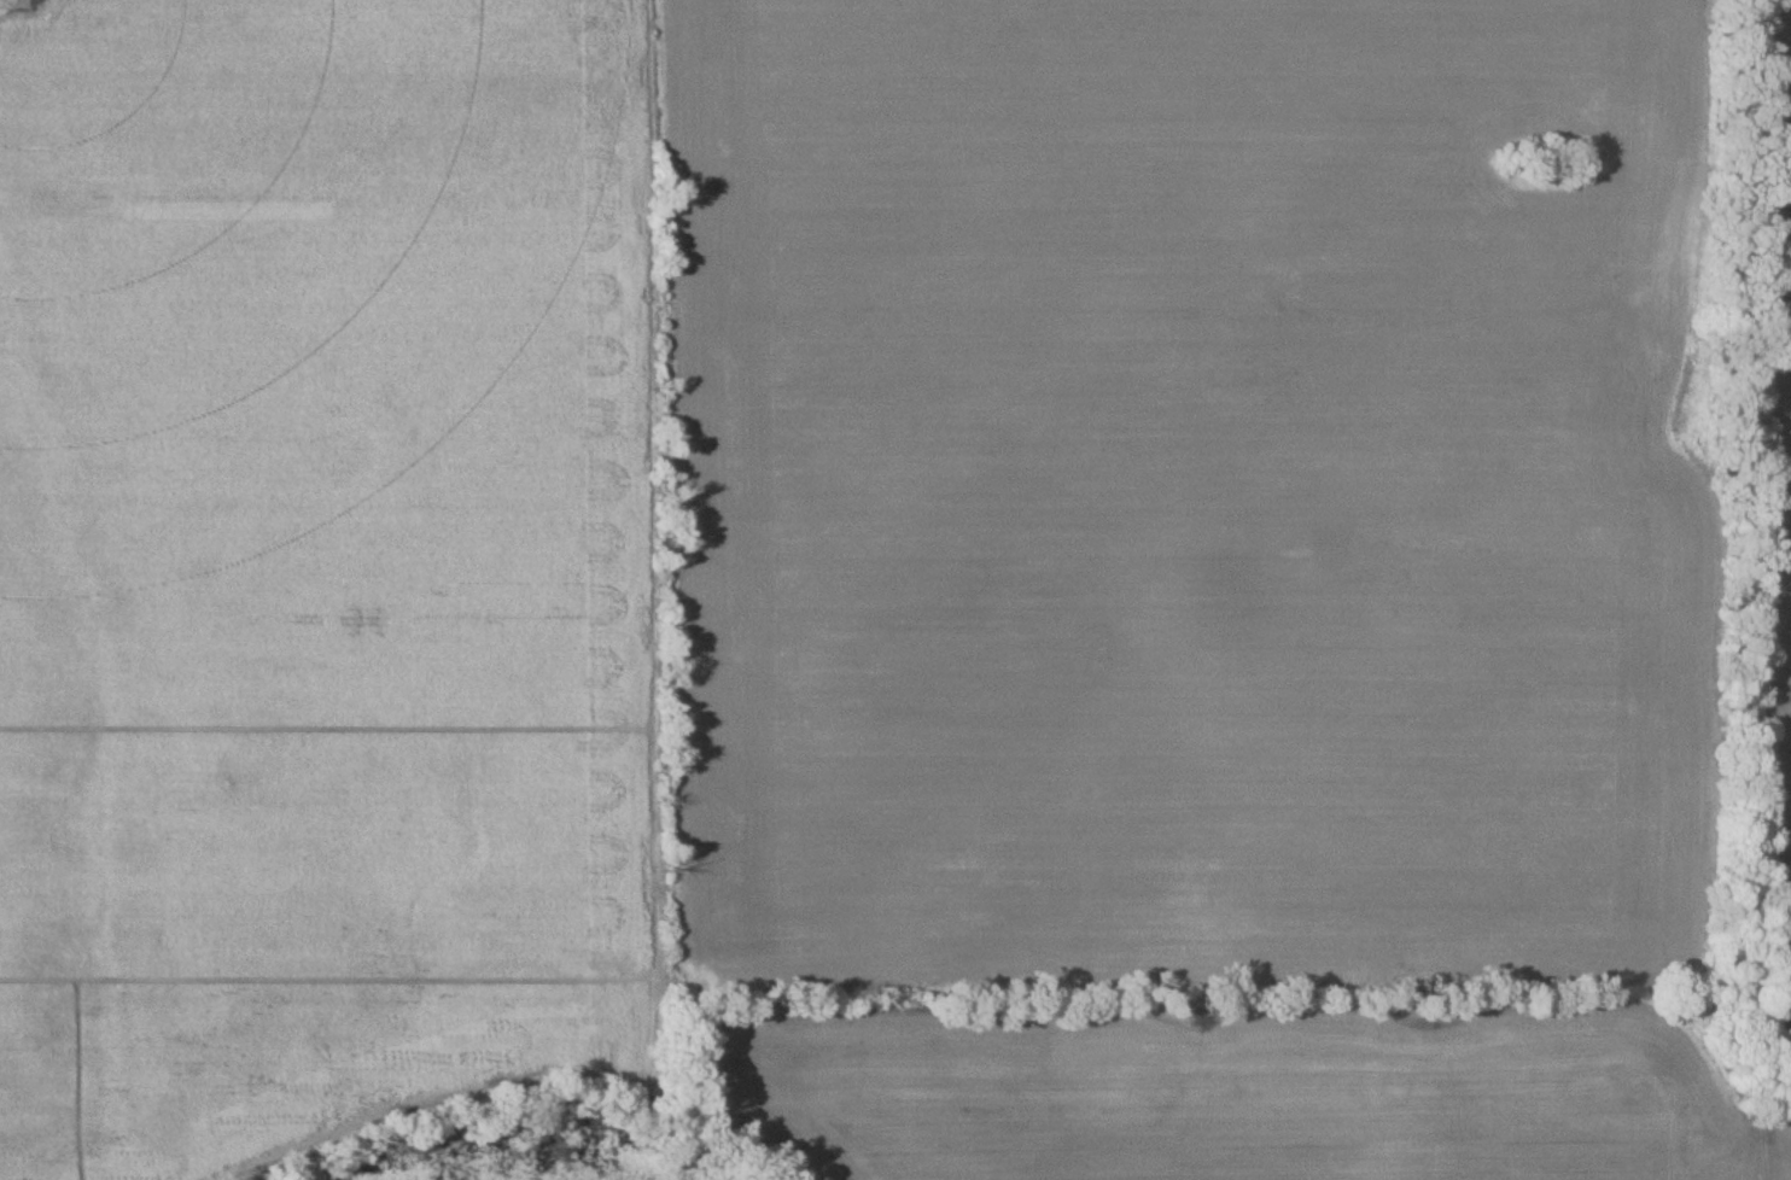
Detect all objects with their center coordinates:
road: (1746, 609)

